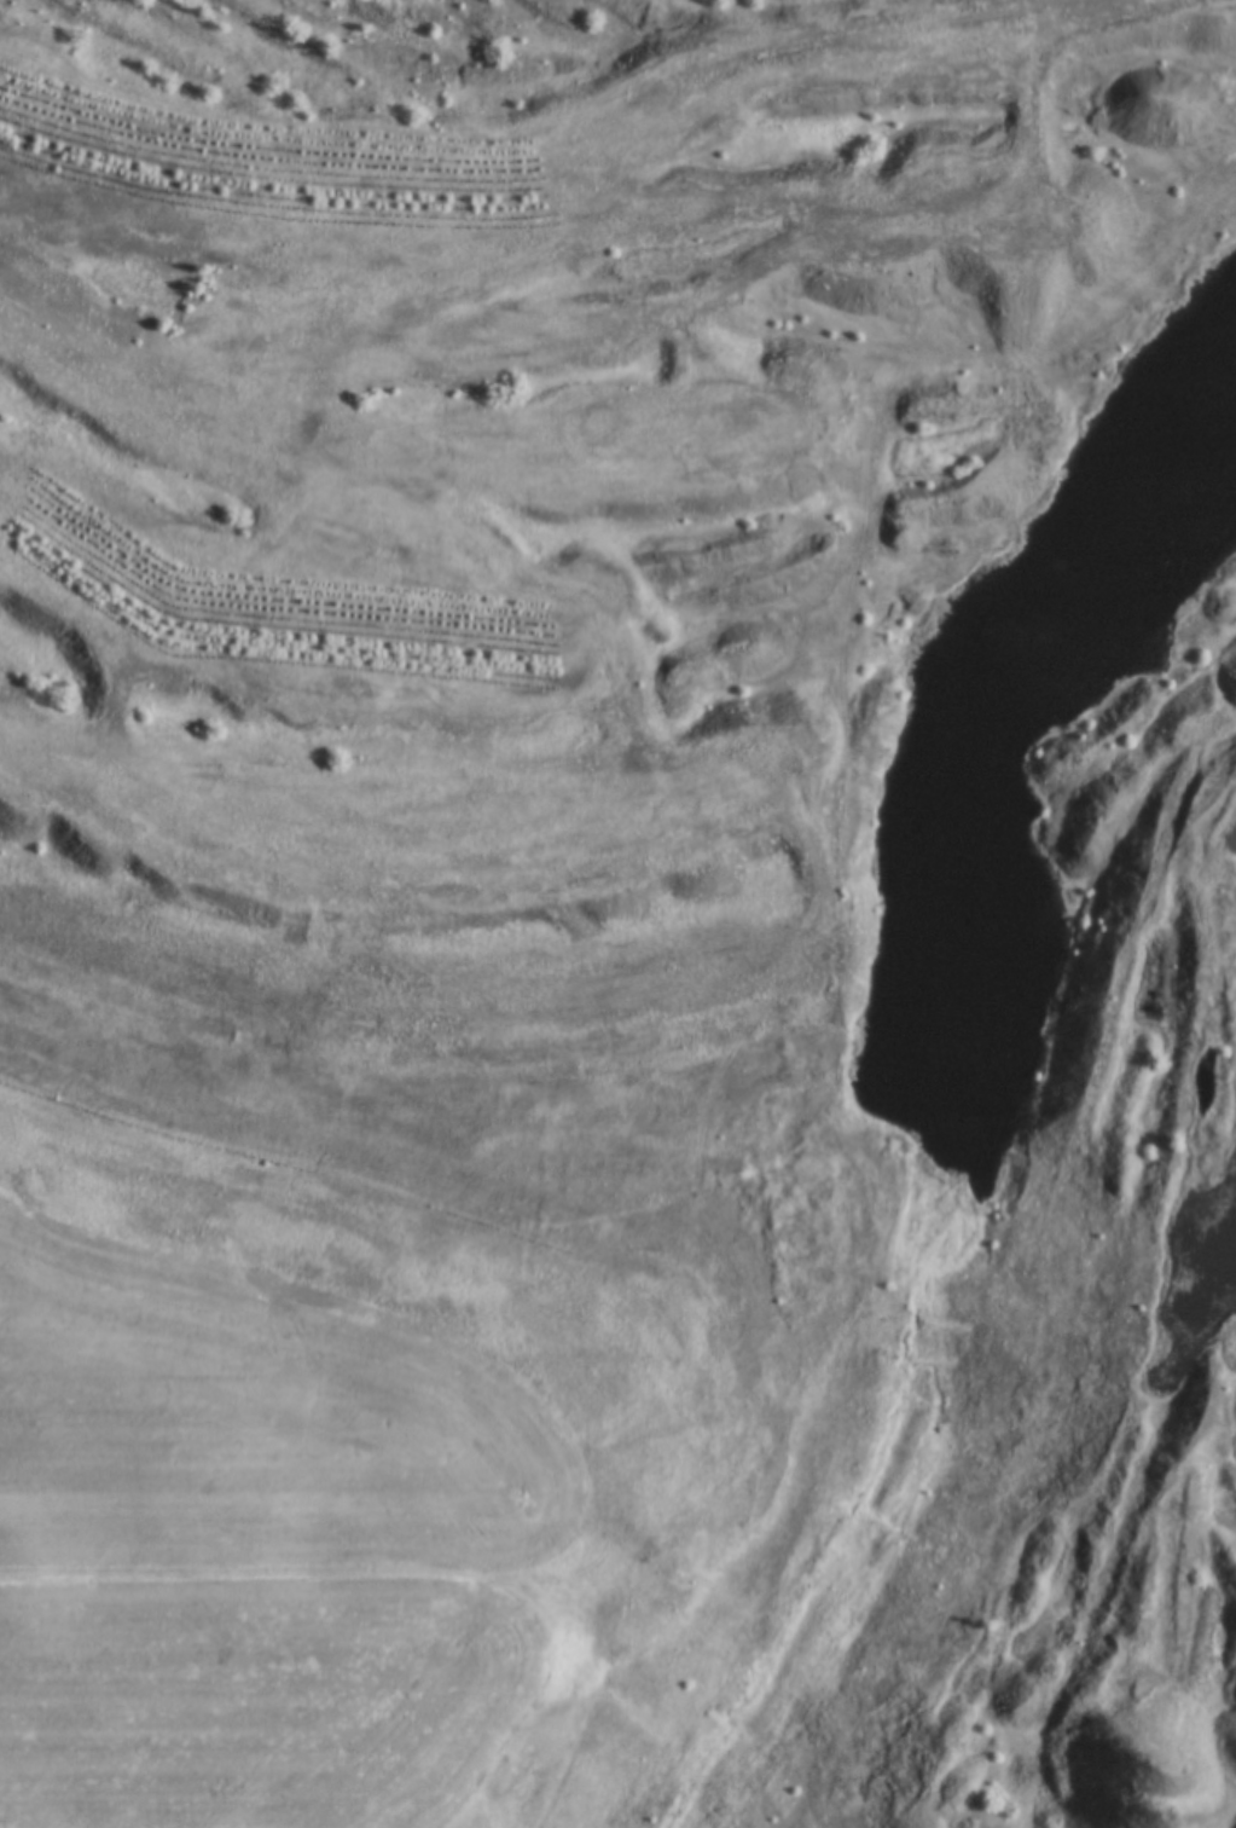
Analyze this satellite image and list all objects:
quarry: (671, 816)

